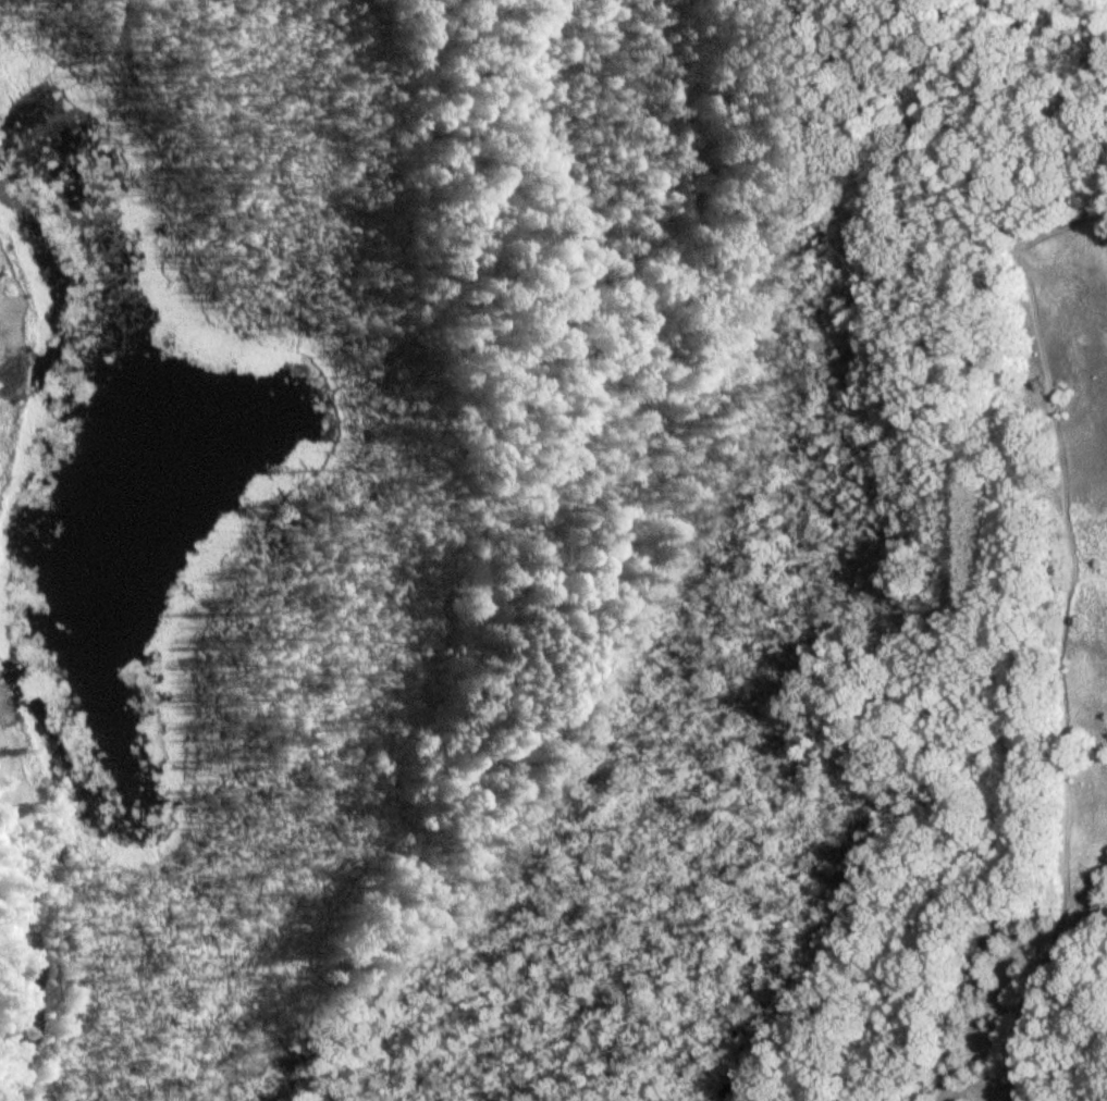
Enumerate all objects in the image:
road: (1055, 226)
building: (19, 396)
road: (1065, 545)

